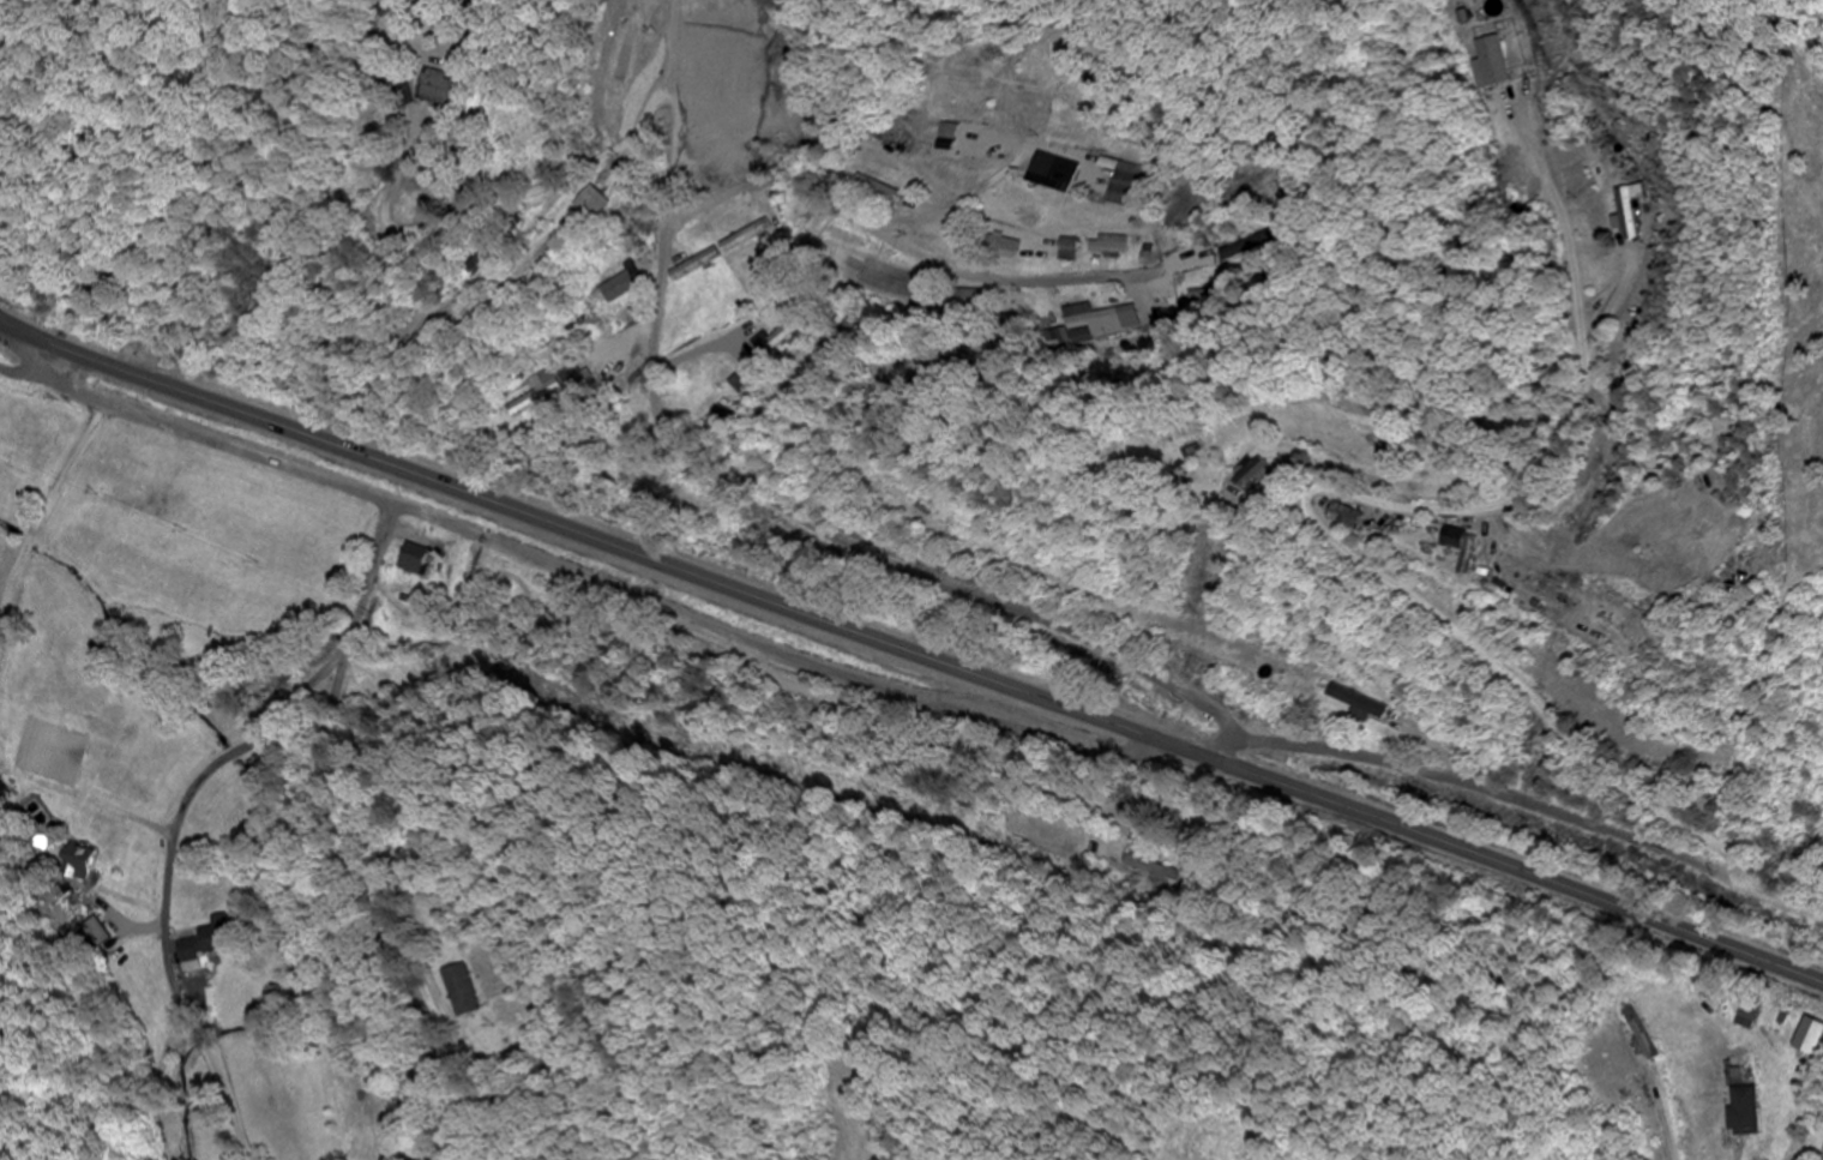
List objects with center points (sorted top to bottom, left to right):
building: (1496, 58)
building: (434, 88)
building: (945, 132)
building: (1052, 172)
building: (1125, 185)
building: (596, 204)
building: (1622, 214)
building: (746, 238)
road: (904, 244)
building: (1111, 247)
building: (1070, 251)
building: (696, 265)
building: (1226, 271)
building: (621, 287)
building: (1089, 323)
road: (17, 329)
road: (17, 331)
road: (48, 366)
building: (573, 377)
road: (655, 380)
building: (539, 396)
road: (1352, 491)
building: (1343, 517)
building: (1461, 549)
building: (411, 559)
road: (582, 577)
road: (928, 659)
building: (1356, 703)
road: (938, 755)
road: (1523, 801)
road: (351, 827)
road: (168, 873)
building: (462, 991)
building: (1746, 1014)
building: (1744, 1111)
building: (1822, 1158)

